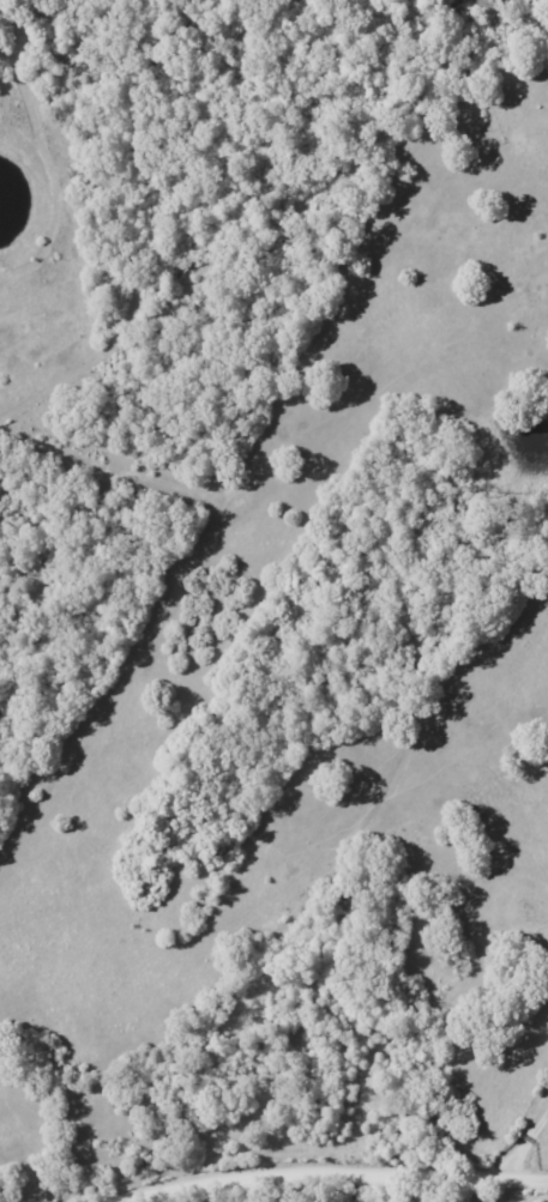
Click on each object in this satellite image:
road: (528, 1152)
road: (337, 1173)

